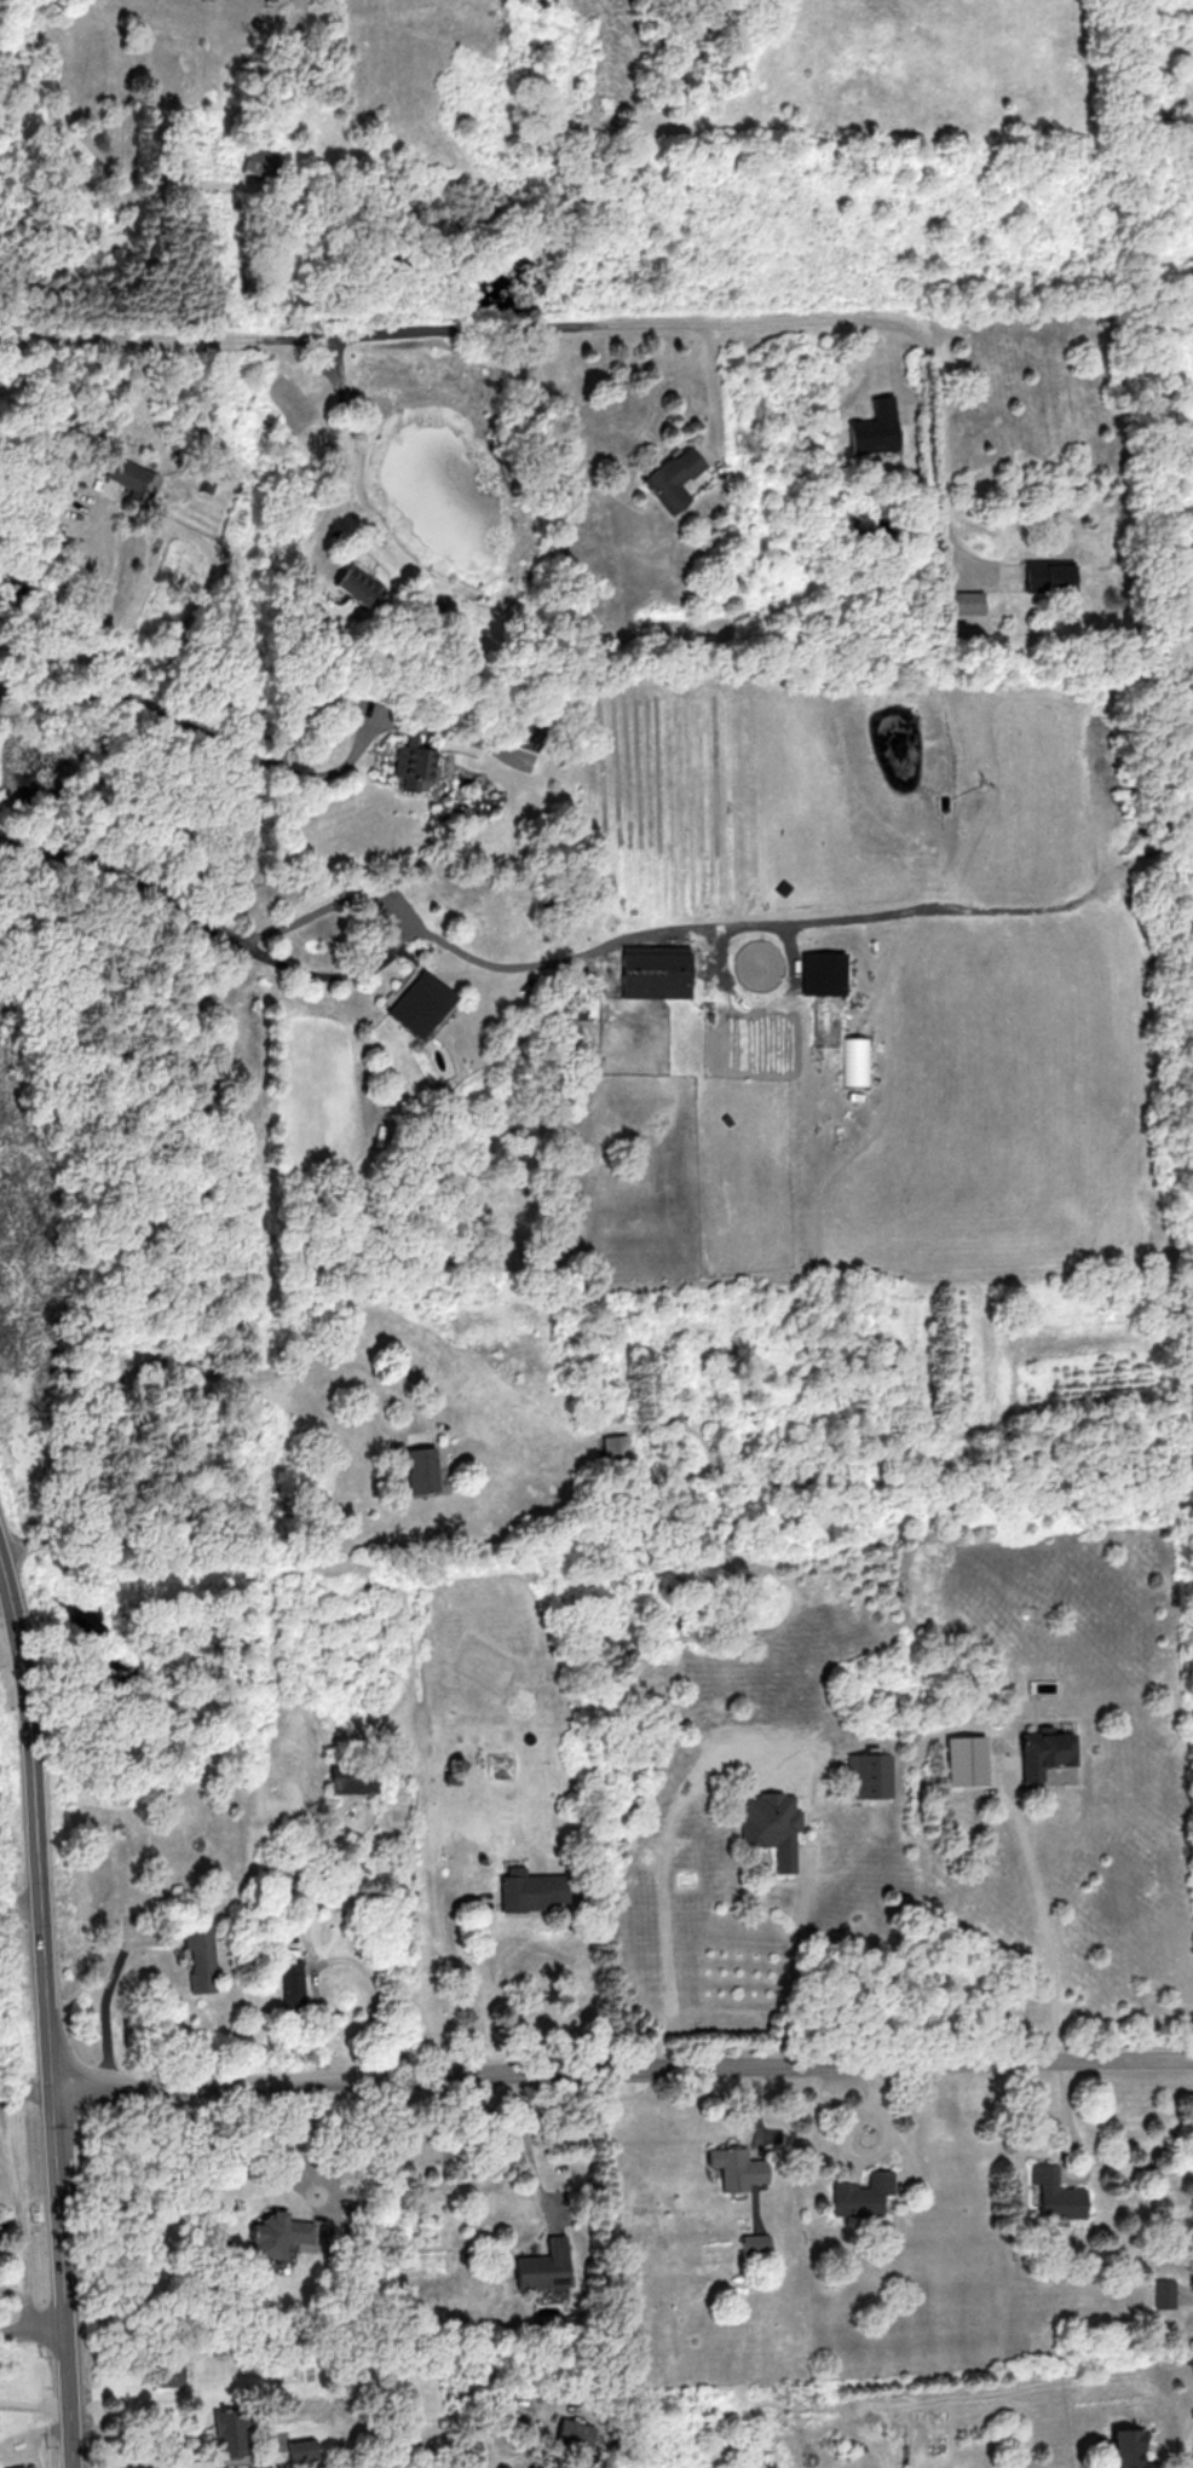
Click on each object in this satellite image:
building: (261, 161)
road: (572, 329)
building: (875, 428)
road: (345, 452)
building: (134, 478)
building: (674, 478)
building: (1050, 575)
building: (359, 586)
building: (967, 601)
road: (88, 624)
building: (415, 765)
road: (123, 871)
road: (397, 935)
road: (628, 935)
building: (657, 970)
building: (825, 992)
building: (420, 1003)
building: (857, 1061)
road: (128, 1372)
road: (409, 1435)
building: (618, 1447)
building: (422, 1469)
road: (1, 1573)
road: (2, 1592)
building: (1044, 1751)
building: (966, 1759)
building: (869, 1775)
building: (353, 1777)
building: (772, 1824)
road: (664, 1868)
building: (531, 1890)
road: (18, 1907)
road: (1047, 1922)
building: (200, 1955)
road: (796, 1961)
building: (292, 1984)
road: (466, 1988)
road: (106, 1991)
road: (44, 2014)
road: (836, 2065)
road: (264, 2084)
road: (756, 2110)
road: (766, 2134)
road: (220, 2151)
road: (531, 2153)
road: (849, 2155)
road: (905, 2156)
road: (1061, 2159)
building: (736, 2167)
road: (18, 2190)
building: (861, 2195)
building: (1056, 2195)
road: (557, 2201)
building: (277, 2233)
building: (756, 2243)
building: (546, 2265)
building: (1165, 2294)
road: (30, 2329)
building: (169, 2371)
road: (115, 2376)
road: (127, 2392)
road: (31, 2404)
road: (133, 2415)
building: (231, 2432)
building: (574, 2434)
road: (322, 2437)
building: (1128, 2447)
building: (301, 2450)
road: (120, 2461)
building: (17, 2467)
road: (265, 2467)

